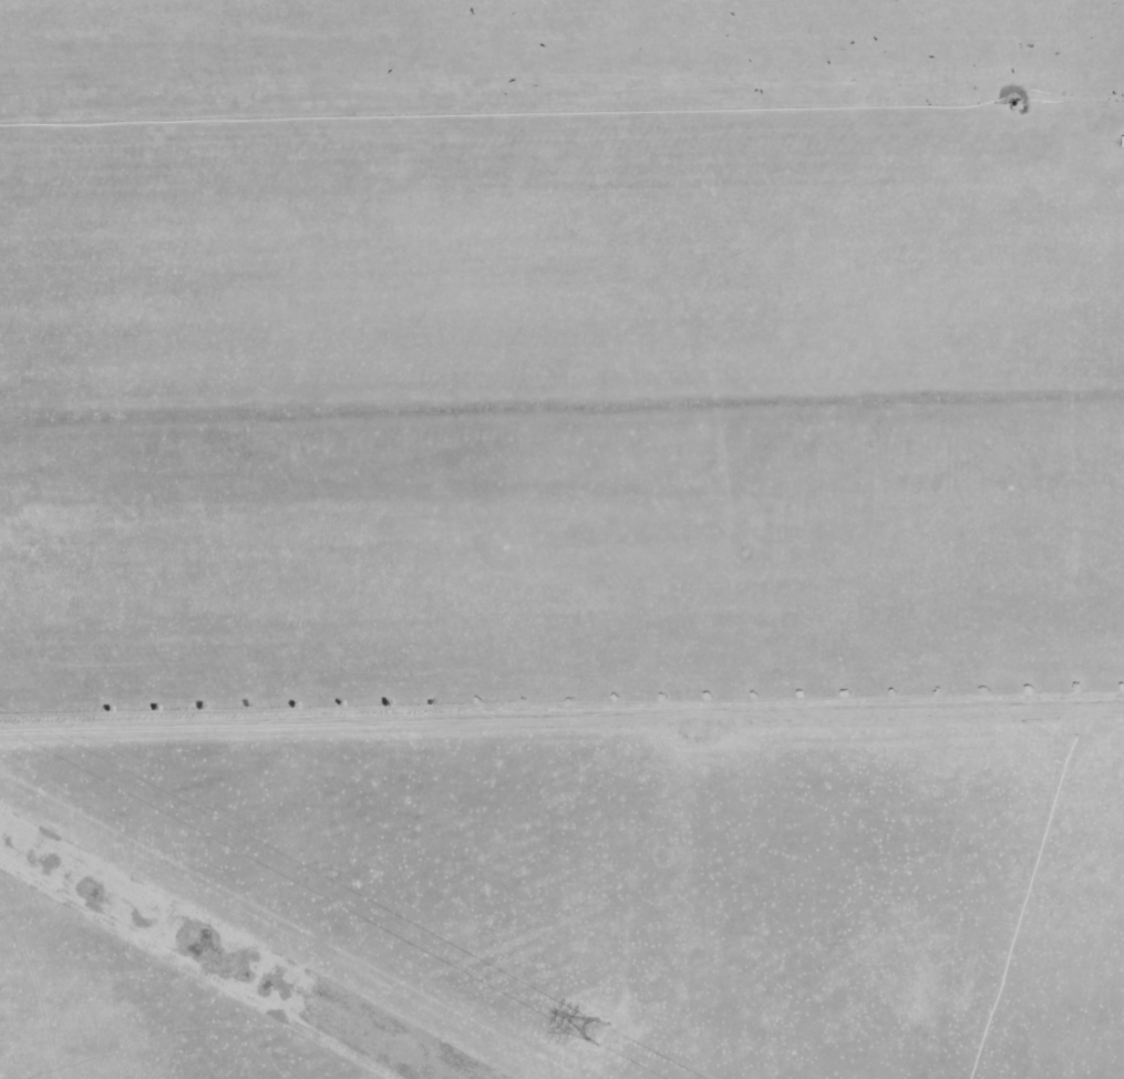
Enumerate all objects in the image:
power tower: (591, 1032)

